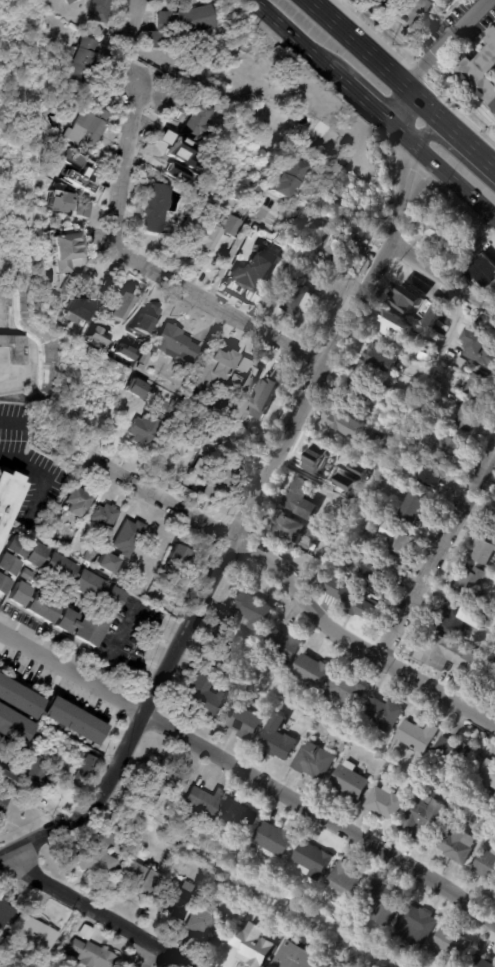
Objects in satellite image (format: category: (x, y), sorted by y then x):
building: (374, 0)
building: (454, 0)
building: (67, 1)
building: (369, 1)
building: (425, 7)
building: (400, 8)
building: (97, 10)
road: (473, 16)
road: (136, 19)
building: (179, 23)
road: (294, 38)
road: (353, 43)
road: (430, 59)
building: (81, 60)
building: (481, 69)
road: (411, 73)
road: (358, 96)
railway: (385, 97)
road: (391, 101)
road: (421, 102)
building: (200, 118)
building: (85, 128)
building: (319, 131)
road: (396, 131)
road: (466, 143)
building: (223, 157)
road: (124, 164)
building: (234, 170)
building: (353, 170)
building: (74, 171)
building: (287, 178)
road: (454, 181)
building: (239, 197)
building: (325, 199)
building: (56, 201)
building: (205, 203)
building: (158, 208)
building: (79, 210)
building: (298, 225)
building: (210, 230)
building: (438, 230)
building: (276, 242)
building: (338, 246)
building: (65, 248)
road: (232, 252)
building: (298, 270)
building: (255, 271)
building: (481, 271)
road: (443, 277)
building: (289, 282)
building: (413, 297)
building: (299, 299)
road: (218, 305)
building: (118, 306)
building: (16, 311)
building: (78, 311)
building: (144, 318)
building: (121, 320)
building: (395, 325)
building: (99, 326)
building: (94, 335)
building: (176, 344)
building: (16, 349)
building: (481, 350)
building: (123, 351)
building: (39, 354)
building: (145, 358)
building: (379, 360)
building: (463, 364)
building: (141, 367)
building: (213, 368)
building: (239, 387)
building: (480, 388)
building: (138, 390)
building: (202, 395)
building: (263, 397)
building: (467, 419)
building: (199, 422)
building: (348, 425)
building: (145, 430)
building: (177, 438)
road: (388, 443)
building: (448, 447)
building: (328, 461)
building: (223, 477)
building: (436, 477)
building: (9, 497)
building: (77, 500)
building: (337, 500)
building: (303, 501)
building: (417, 507)
road: (249, 511)
building: (493, 515)
building: (105, 516)
building: (294, 530)
building: (129, 537)
building: (398, 540)
building: (483, 550)
road: (438, 552)
building: (179, 554)
building: (90, 557)
building: (12, 561)
building: (107, 562)
building: (167, 570)
building: (375, 579)
building: (468, 582)
road: (294, 585)
building: (338, 588)
building: (105, 594)
building: (361, 605)
building: (254, 610)
building: (451, 619)
building: (285, 648)
building: (450, 655)
building: (314, 671)
building: (348, 691)
building: (206, 694)
building: (18, 697)
building: (494, 699)
building: (388, 713)
building: (73, 718)
building: (246, 721)
building: (13, 726)
building: (423, 735)
building: (282, 738)
building: (347, 747)
building: (458, 755)
building: (318, 761)
building: (87, 768)
road: (249, 773)
building: (37, 774)
building: (490, 775)
building: (6, 778)
building: (164, 779)
building: (354, 781)
building: (0, 789)
building: (469, 792)
building: (3, 801)
building: (204, 802)
building: (390, 802)
building: (464, 809)
building: (167, 816)
building: (240, 817)
building: (430, 817)
building: (277, 839)
building: (461, 845)
building: (98, 857)
building: (315, 860)
building: (488, 864)
building: (137, 874)
building: (348, 880)
building: (177, 897)
building: (387, 902)
road: (98, 911)
building: (5, 914)
building: (209, 925)
building: (418, 926)
building: (86, 932)
building: (35, 936)
building: (454, 945)
building: (251, 947)
building: (92, 954)
road: (149, 956)
building: (294, 956)
building: (482, 962)
building: (324, 966)

